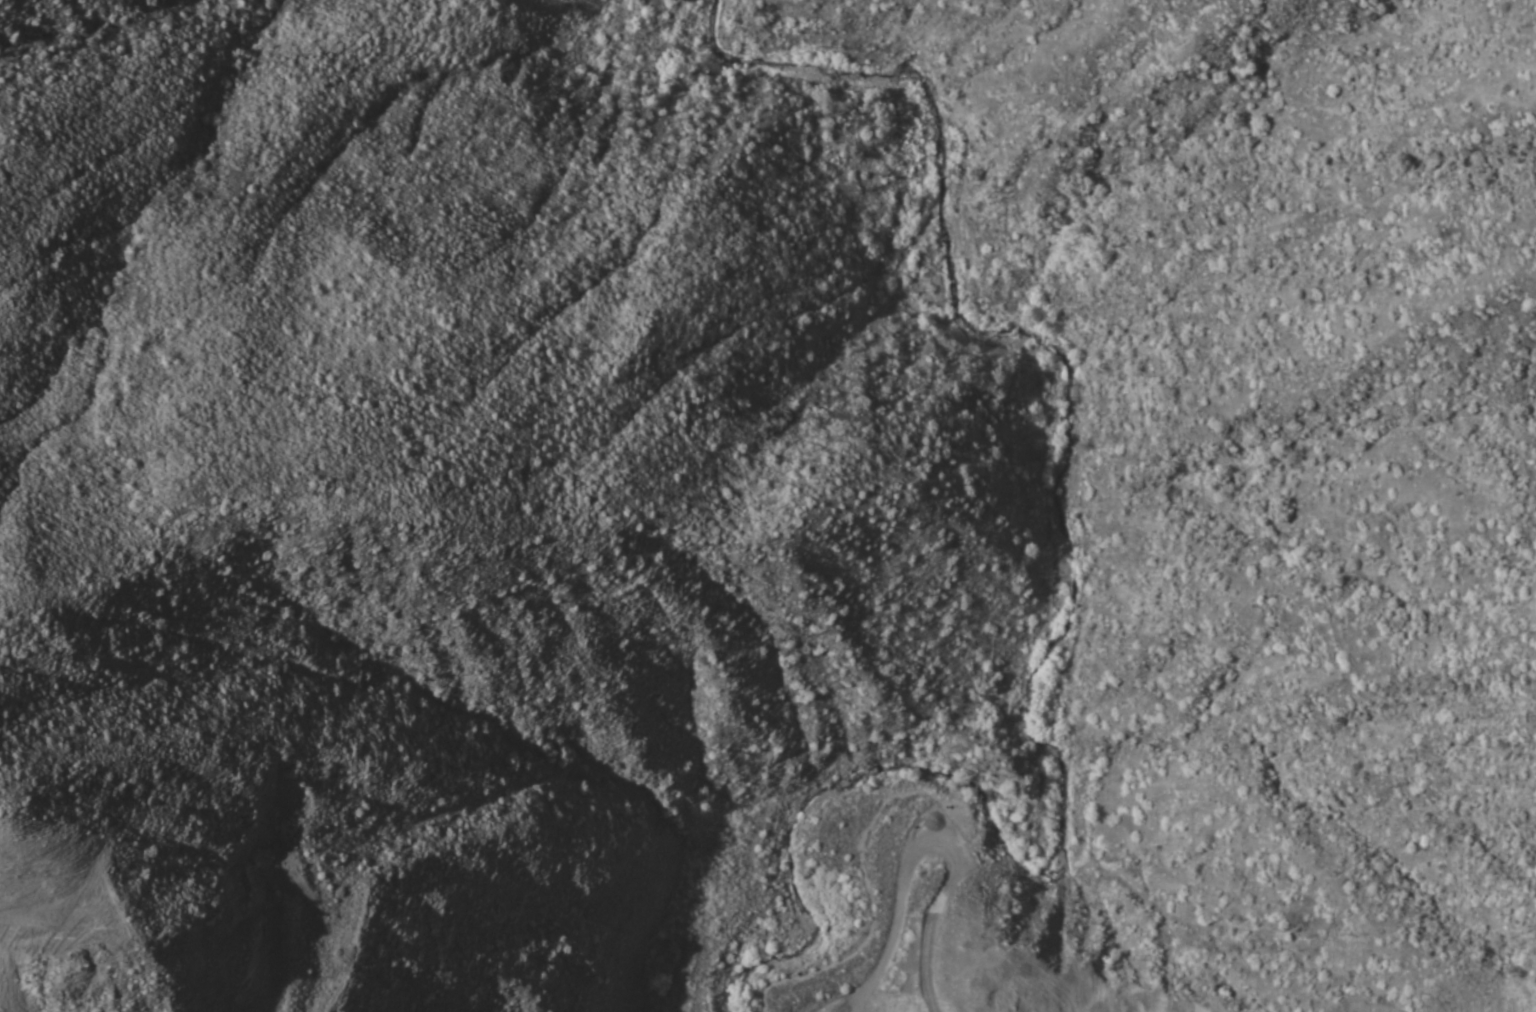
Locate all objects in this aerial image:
road: (908, 795)
quarry: (766, 892)

